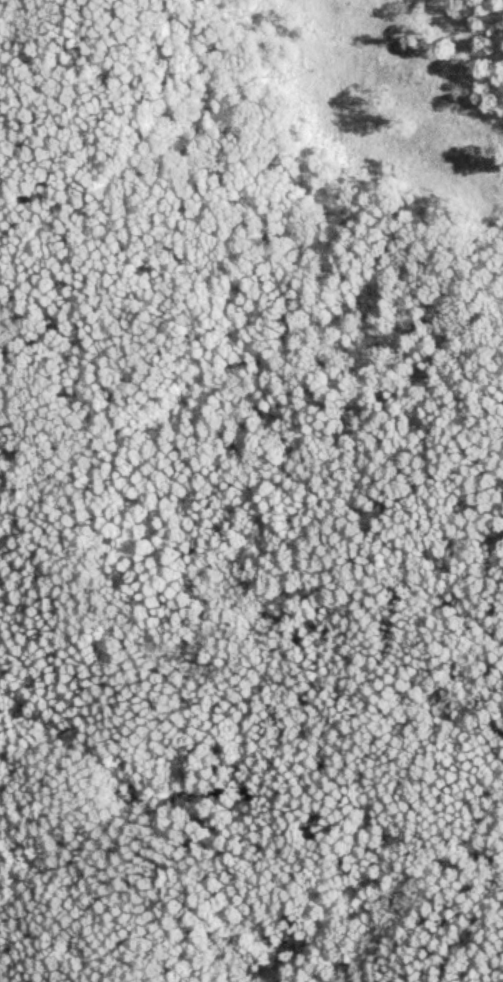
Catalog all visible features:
road: (2, 8)
road: (196, 505)
road: (395, 972)

